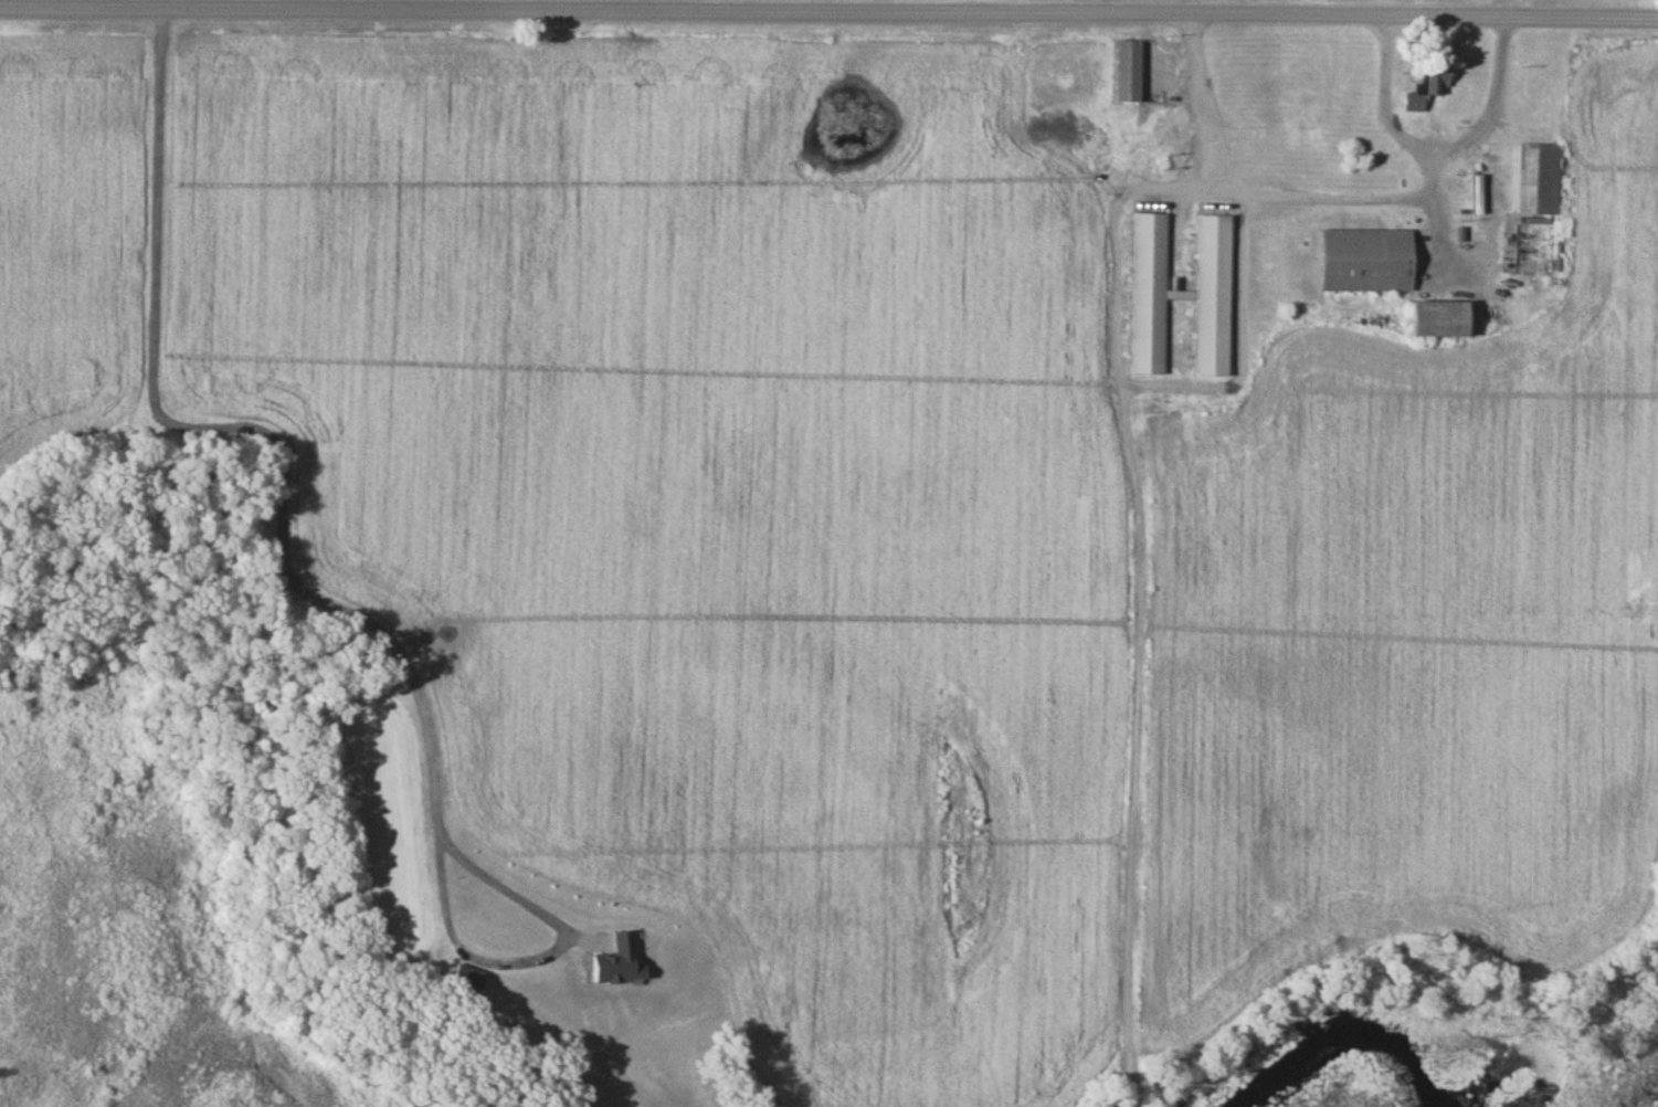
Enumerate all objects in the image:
road: (828, 15)
building: (1124, 72)
building: (1425, 89)
road: (1491, 98)
road: (1396, 126)
building: (1536, 181)
building: (1362, 262)
building: (1180, 296)
building: (1444, 321)
road: (317, 592)
river: (1344, 1029)

